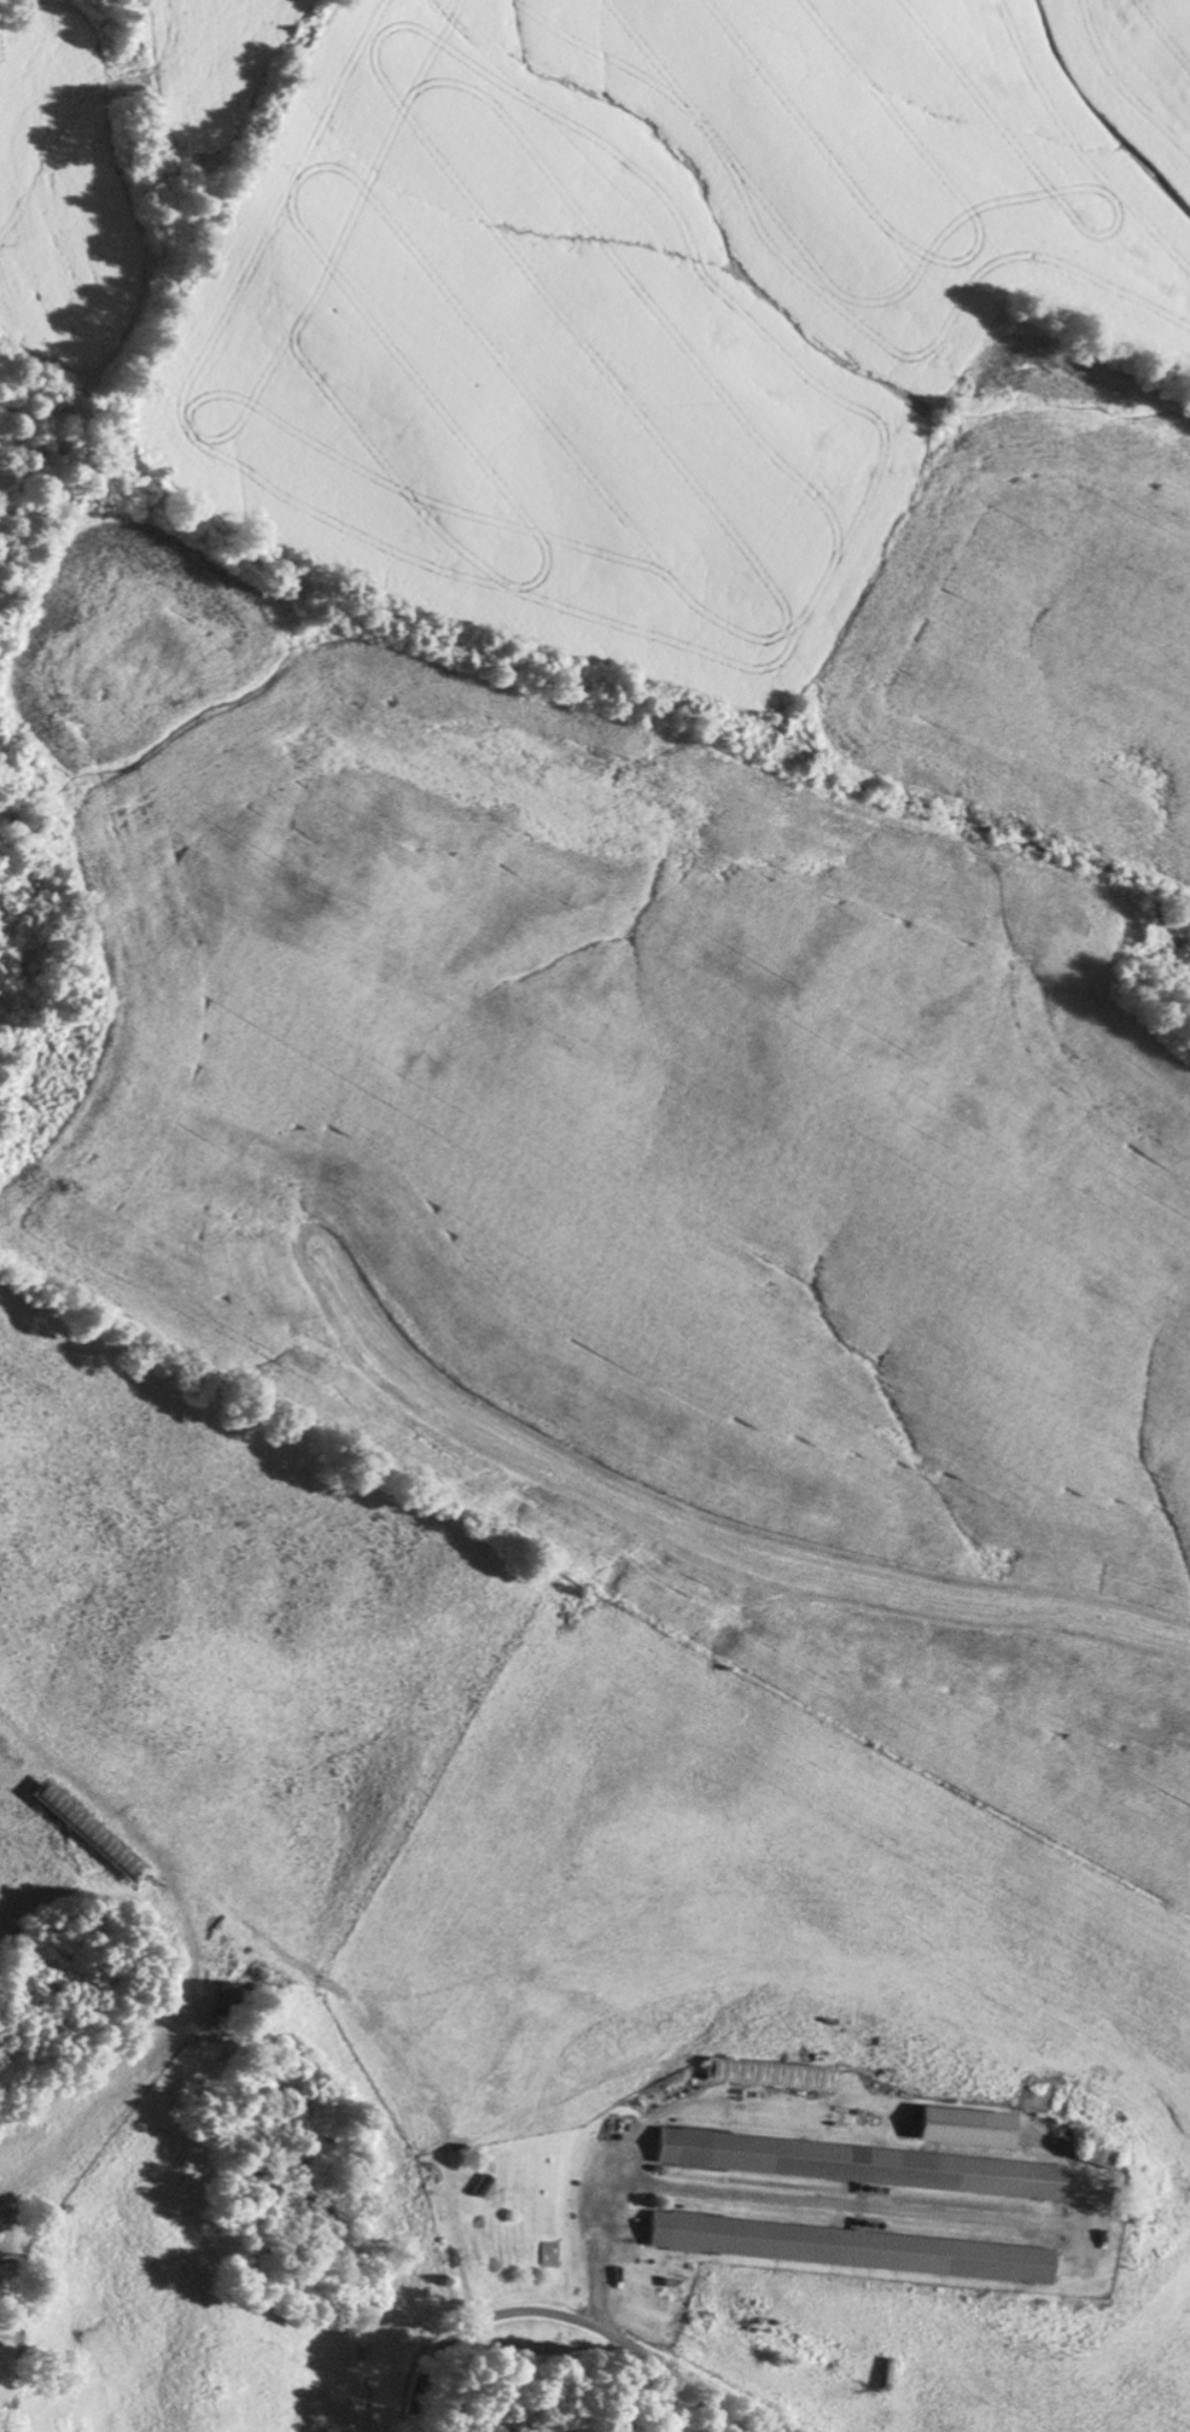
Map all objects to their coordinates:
building: (766, 2076)
building: (957, 2128)
building: (856, 2165)
building: (840, 2247)
road: (583, 2318)

